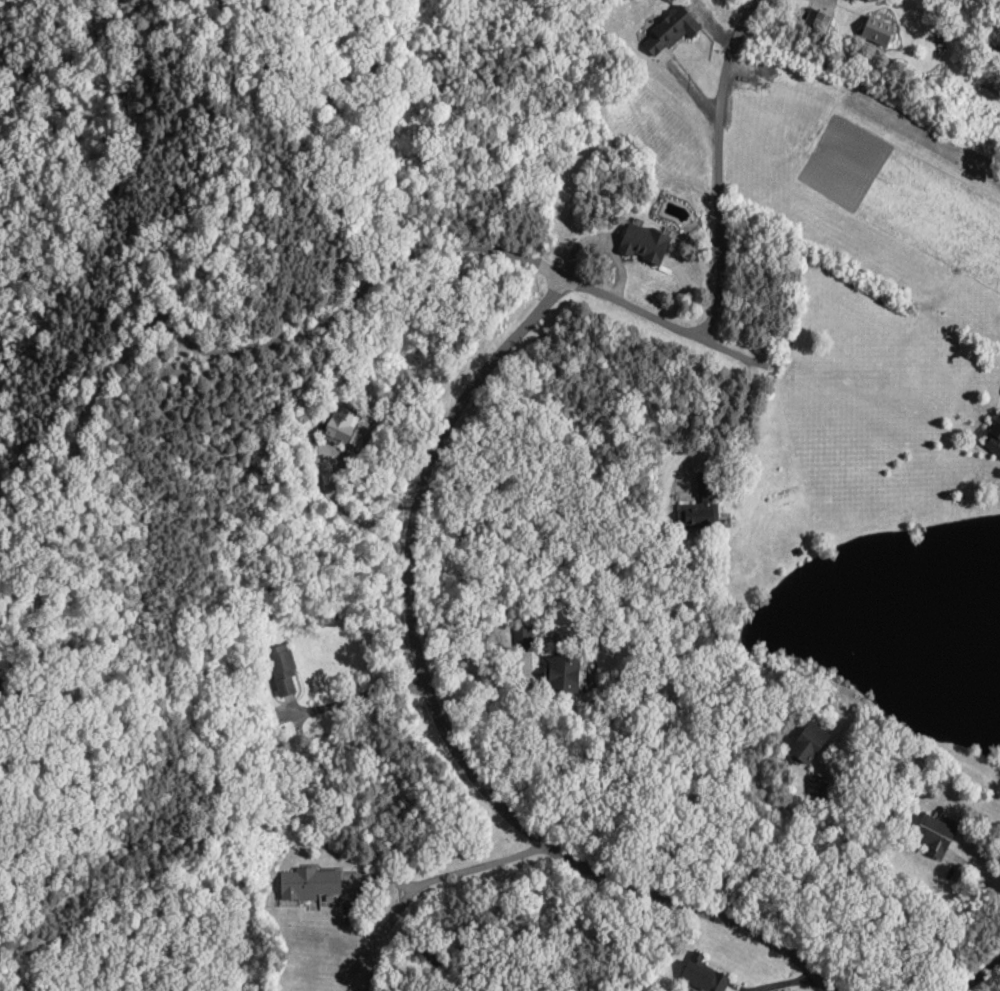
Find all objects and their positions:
building: (816, 22)
building: (668, 33)
building: (875, 33)
road: (721, 165)
road: (440, 181)
building: (641, 244)
road: (202, 254)
road: (576, 280)
building: (338, 425)
building: (991, 438)
building: (700, 505)
building: (520, 641)
building: (280, 672)
building: (562, 676)
road: (351, 697)
road: (445, 725)
building: (806, 744)
building: (932, 837)
road: (486, 865)
road: (974, 869)
building: (306, 884)
road: (370, 930)
road: (978, 973)
building: (706, 976)

